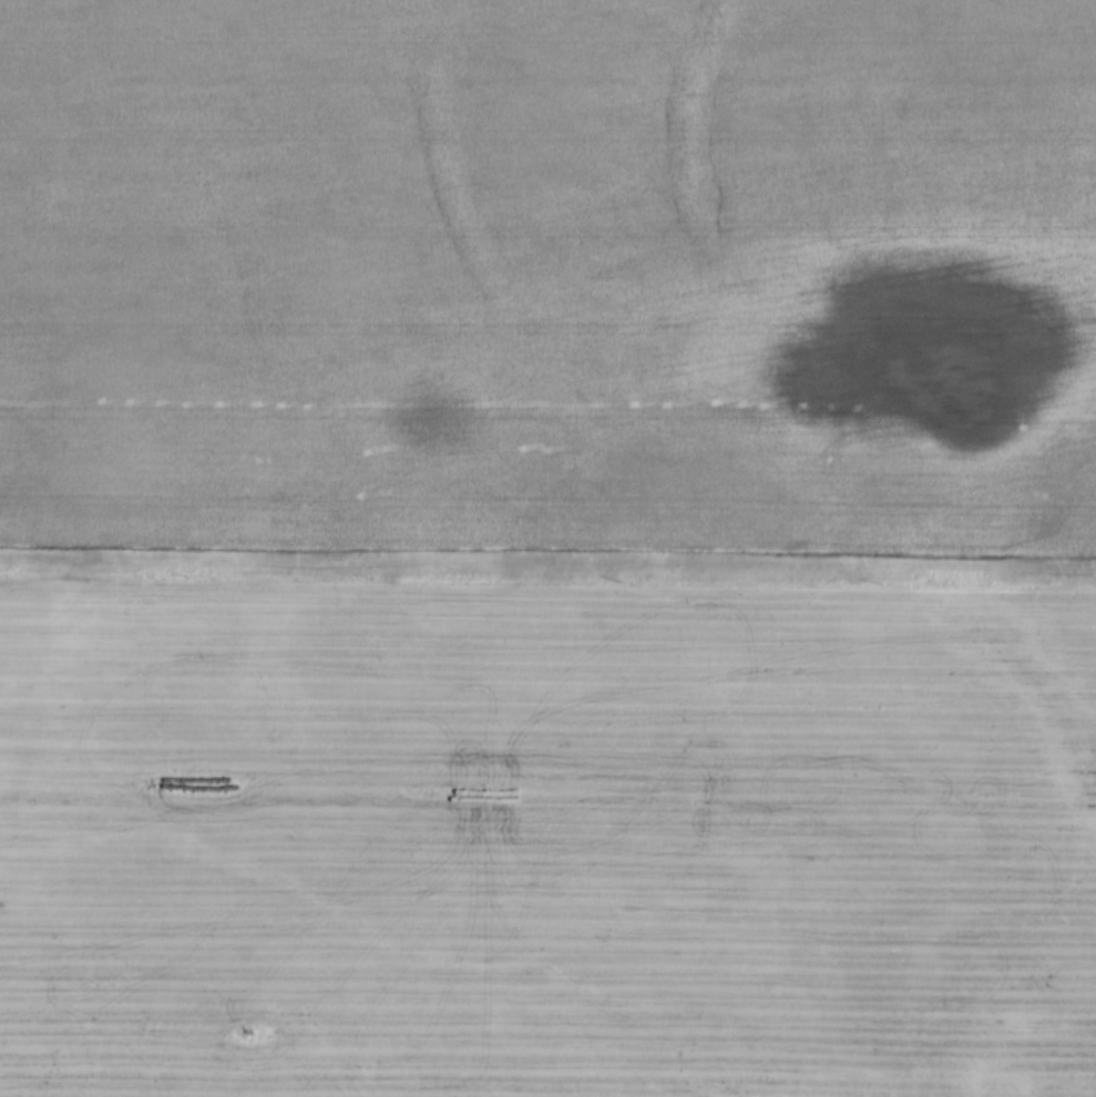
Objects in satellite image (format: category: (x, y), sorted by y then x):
road: (547, 558)

